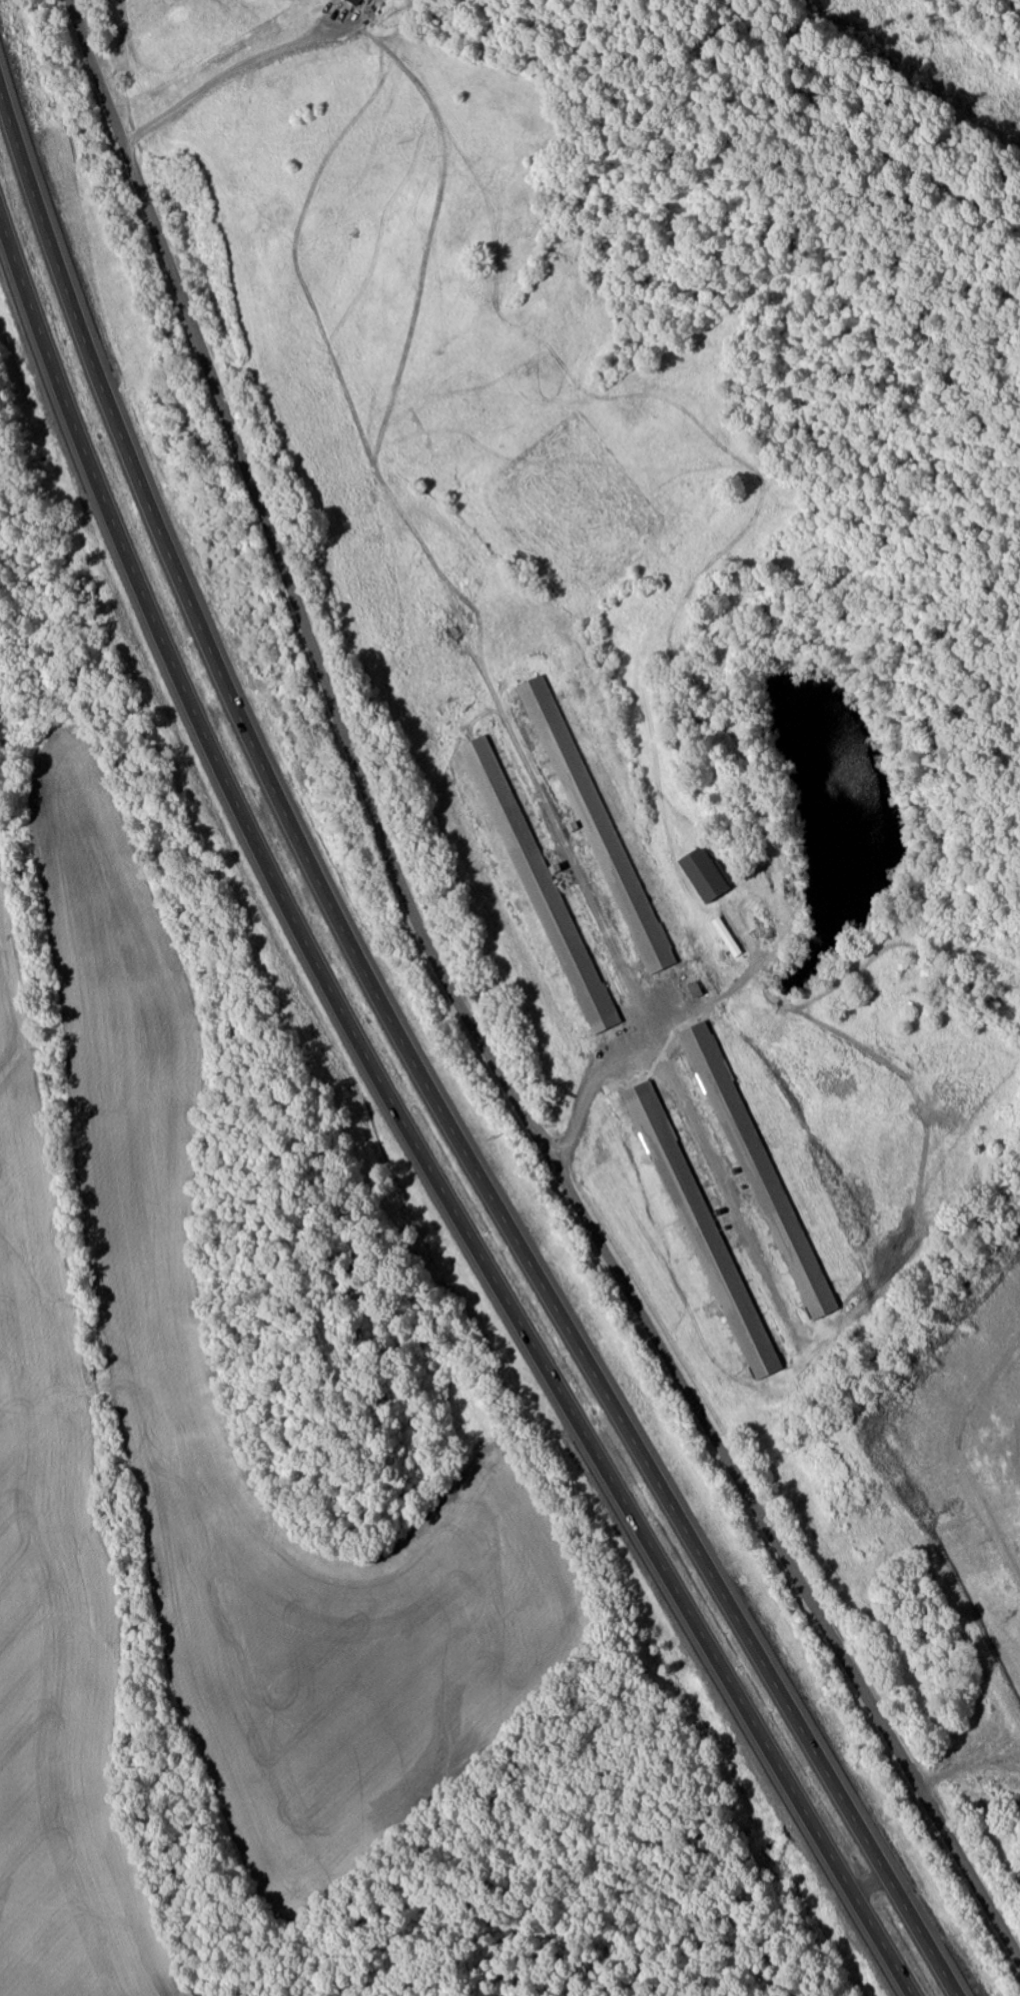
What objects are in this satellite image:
building: (353, 2)
road: (232, 69)
building: (596, 825)
building: (704, 875)
building: (540, 886)
building: (695, 990)
road: (467, 1017)
road: (419, 1067)
road: (405, 1134)
building: (758, 1169)
building: (701, 1228)
quarry: (965, 1487)
road: (958, 1766)
road: (862, 1869)

